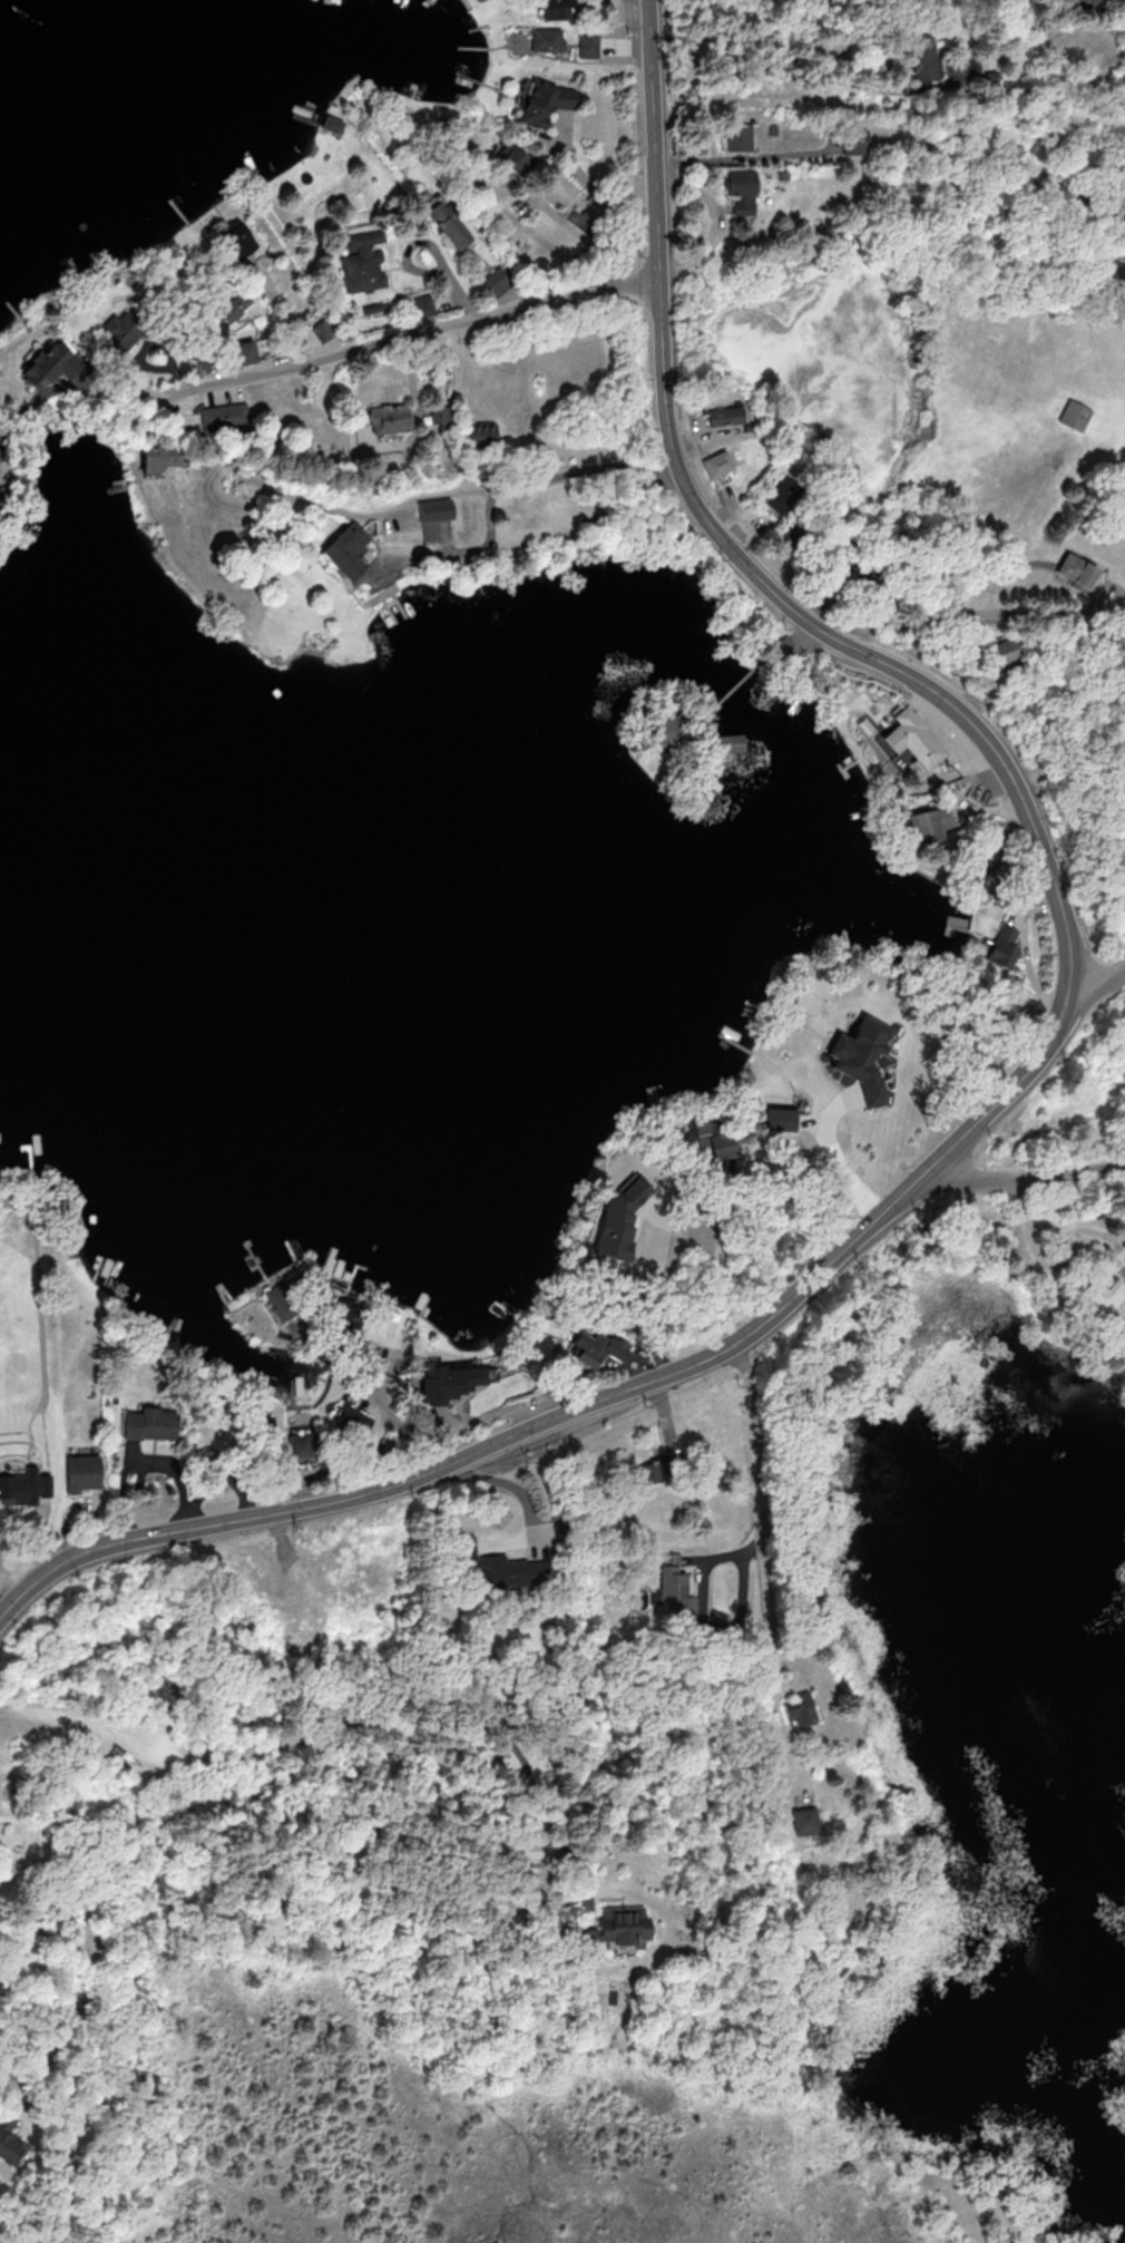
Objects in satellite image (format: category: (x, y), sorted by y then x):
building: (1074, 1)
building: (556, 9)
road: (747, 35)
building: (547, 39)
building: (942, 42)
building: (588, 45)
building: (925, 58)
building: (991, 76)
building: (546, 101)
building: (331, 124)
building: (772, 128)
building: (737, 136)
building: (855, 140)
building: (512, 156)
road: (736, 158)
road: (593, 188)
building: (743, 188)
building: (581, 220)
building: (451, 225)
building: (237, 237)
road: (429, 244)
building: (362, 264)
building: (496, 282)
building: (422, 304)
building: (234, 305)
building: (373, 306)
building: (118, 330)
building: (322, 331)
road: (151, 340)
building: (246, 352)
road: (316, 360)
building: (47, 364)
road: (153, 368)
road: (450, 368)
building: (437, 413)
building: (1077, 415)
building: (725, 416)
building: (387, 417)
building: (224, 420)
building: (483, 430)
building: (158, 457)
building: (715, 464)
road: (461, 489)
building: (780, 494)
building: (430, 515)
building: (346, 553)
building: (1075, 572)
road: (943, 616)
building: (780, 647)
building: (1004, 651)
road: (854, 655)
road: (732, 687)
building: (882, 703)
building: (669, 730)
building: (916, 738)
building: (732, 742)
building: (929, 823)
building: (1001, 948)
road: (1102, 992)
building: (859, 1055)
building: (779, 1118)
building: (712, 1141)
road: (833, 1155)
pier: (30, 1159)
road: (1024, 1181)
building: (619, 1212)
road: (873, 1221)
pier: (247, 1241)
pier: (290, 1249)
pier: (256, 1258)
road: (710, 1259)
pier: (255, 1260)
pier: (98, 1266)
pier: (332, 1266)
pier: (353, 1269)
pier: (108, 1274)
pier: (341, 1275)
pier: (334, 1276)
pier: (224, 1291)
building: (292, 1296)
building: (1104, 1297)
pier: (424, 1305)
pier: (507, 1308)
building: (346, 1315)
pier: (176, 1328)
road: (725, 1345)
building: (597, 1347)
pier: (198, 1353)
pier: (325, 1378)
building: (448, 1381)
pier: (257, 1382)
pier: (267, 1385)
road: (382, 1391)
pier: (294, 1393)
road: (548, 1405)
building: (354, 1422)
building: (153, 1425)
building: (266, 1430)
road: (432, 1439)
building: (303, 1444)
building: (663, 1467)
building: (79, 1471)
building: (21, 1488)
road: (272, 1512)
road: (765, 1553)
road: (713, 1561)
building: (496, 1571)
building: (800, 1707)
road: (78, 1714)
road: (415, 1727)
building: (804, 1823)
building: (531, 1850)
road: (82, 1908)
building: (614, 1928)
building: (9, 2146)

